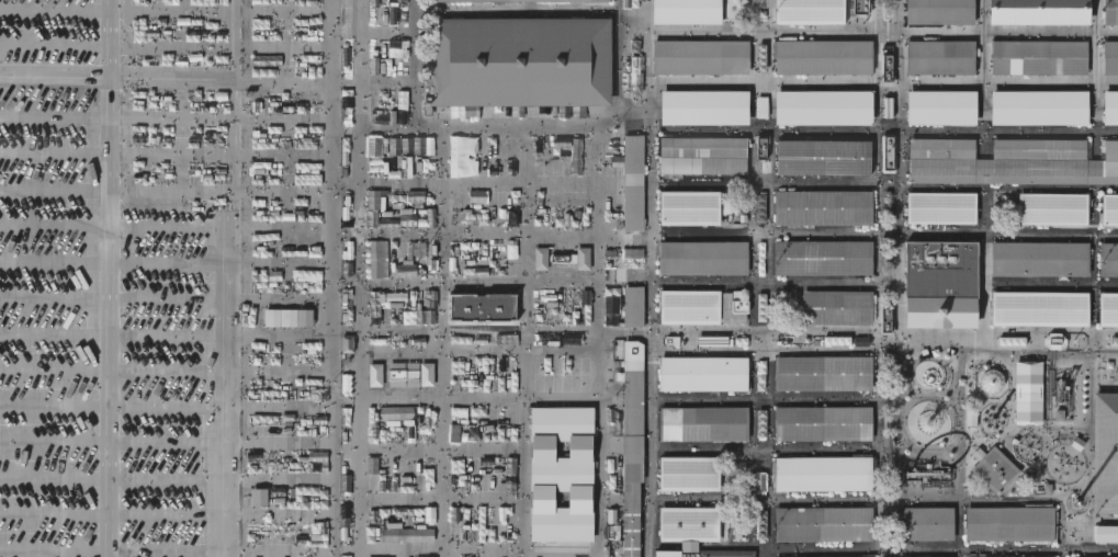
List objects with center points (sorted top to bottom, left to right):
building: (524, 1)
building: (685, 11)
building: (822, 11)
building: (939, 11)
building: (1038, 11)
building: (1110, 11)
building: (699, 55)
building: (822, 55)
building: (939, 55)
building: (1038, 56)
building: (1110, 56)
building: (520, 59)
road: (154, 78)
road: (414, 90)
building: (704, 106)
building: (823, 106)
building: (941, 106)
building: (1037, 106)
building: (1110, 106)
road: (530, 124)
building: (405, 145)
building: (888, 152)
building: (821, 156)
building: (701, 158)
building: (1009, 160)
building: (381, 166)
building: (688, 206)
building: (822, 206)
building: (939, 206)
building: (1052, 207)
building: (1109, 208)
building: (632, 228)
building: (821, 255)
building: (701, 257)
building: (1039, 258)
building: (1108, 258)
building: (379, 260)
building: (542, 260)
building: (940, 268)
parking lot: (116, 277)
road: (877, 277)
road: (111, 278)
road: (359, 278)
road: (647, 278)
building: (688, 306)
building: (835, 306)
building: (1039, 307)
building: (1108, 308)
building: (940, 312)
road: (226, 318)
road: (882, 341)
building: (701, 372)
building: (822, 372)
building: (929, 373)
building: (428, 375)
building: (993, 383)
building: (1047, 394)
building: (822, 421)
building: (702, 422)
building: (928, 424)
building: (630, 448)
road: (760, 448)
building: (1105, 451)
building: (994, 468)
building: (822, 471)
building: (687, 473)
building: (929, 474)
building: (687, 522)
building: (823, 522)
building: (926, 522)
building: (1008, 522)
building: (1106, 532)
building: (406, 535)
road: (939, 548)
building: (699, 554)
building: (822, 556)
building: (926, 556)
building: (1007, 556)

